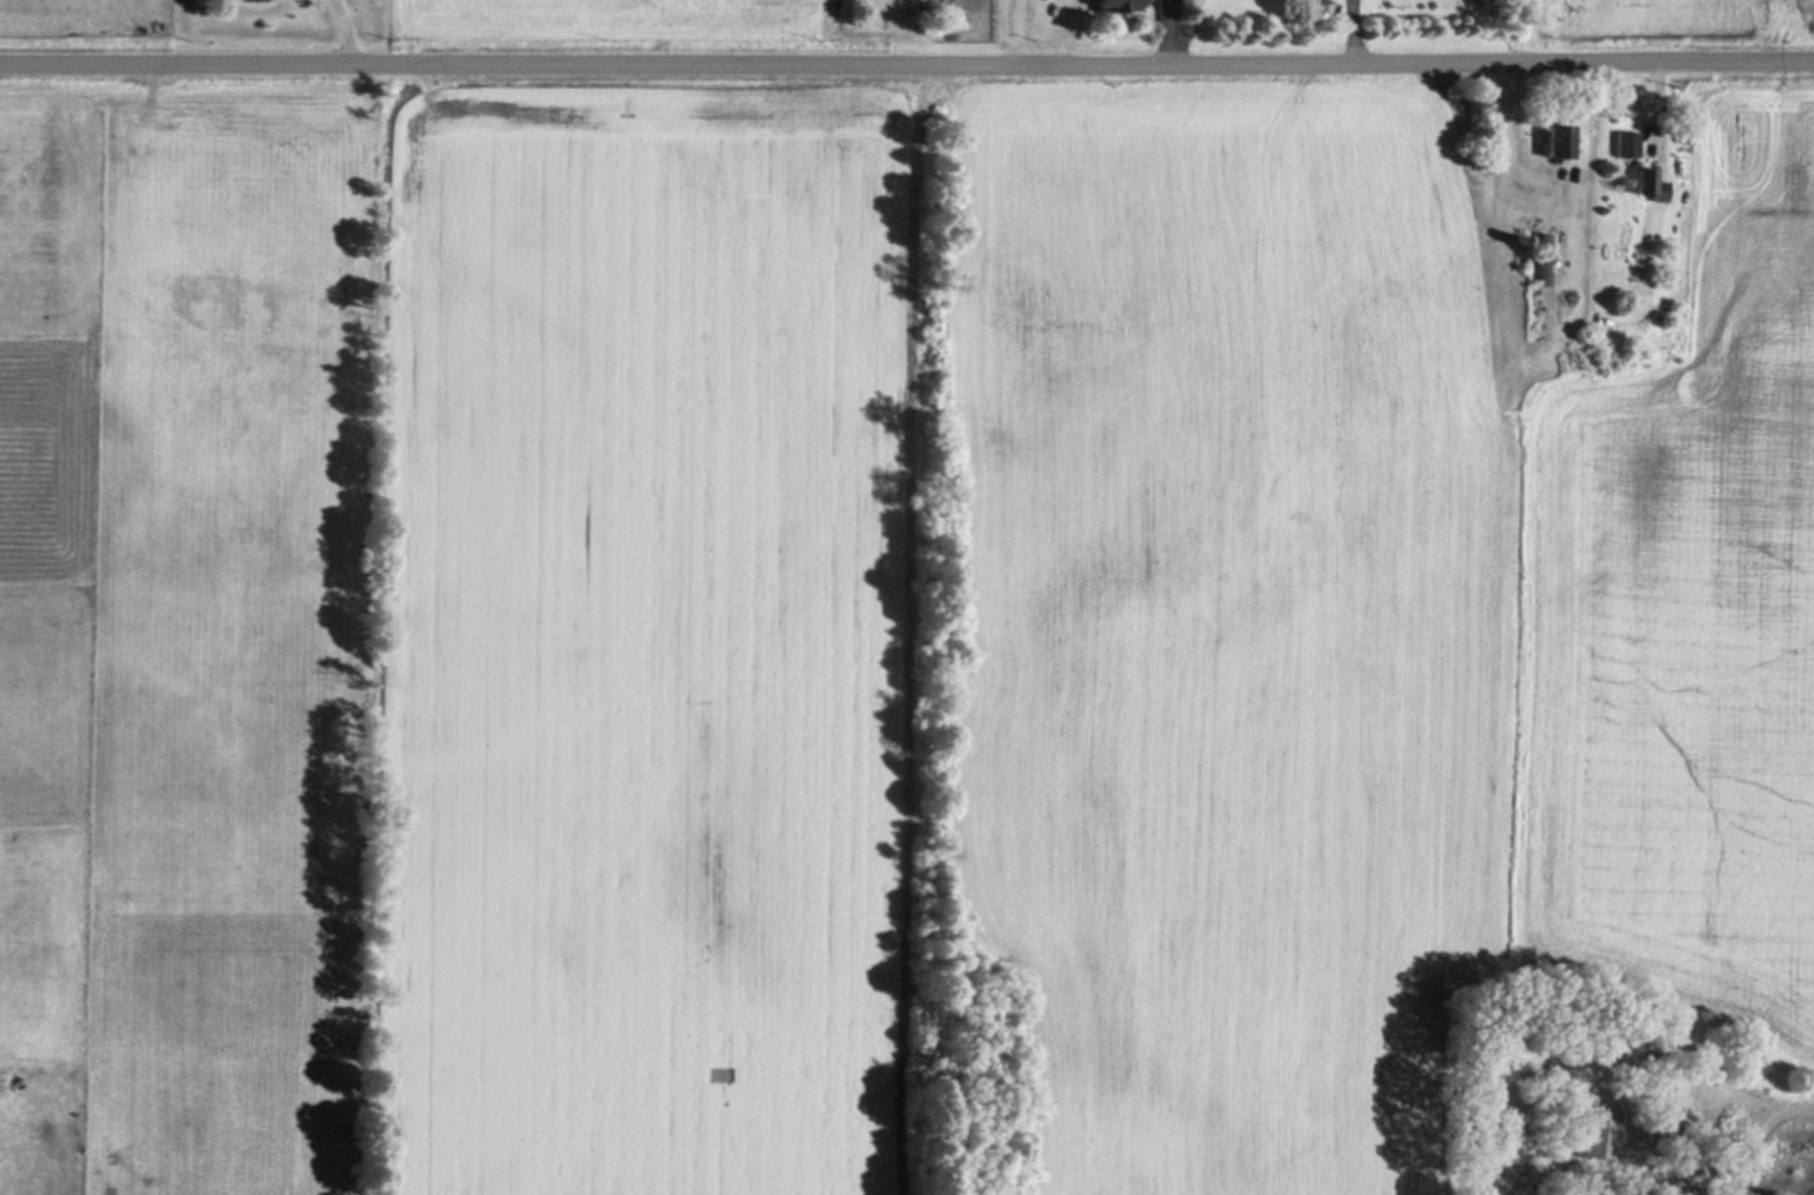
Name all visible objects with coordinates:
building: (1115, 7)
road: (1020, 31)
road: (1063, 31)
road: (1358, 31)
road: (346, 32)
road: (1174, 38)
road: (907, 63)
road: (1661, 107)
road: (1510, 123)
building: (1560, 145)
building: (1631, 146)
building: (1651, 188)
building: (1544, 262)
building: (1602, 1133)

